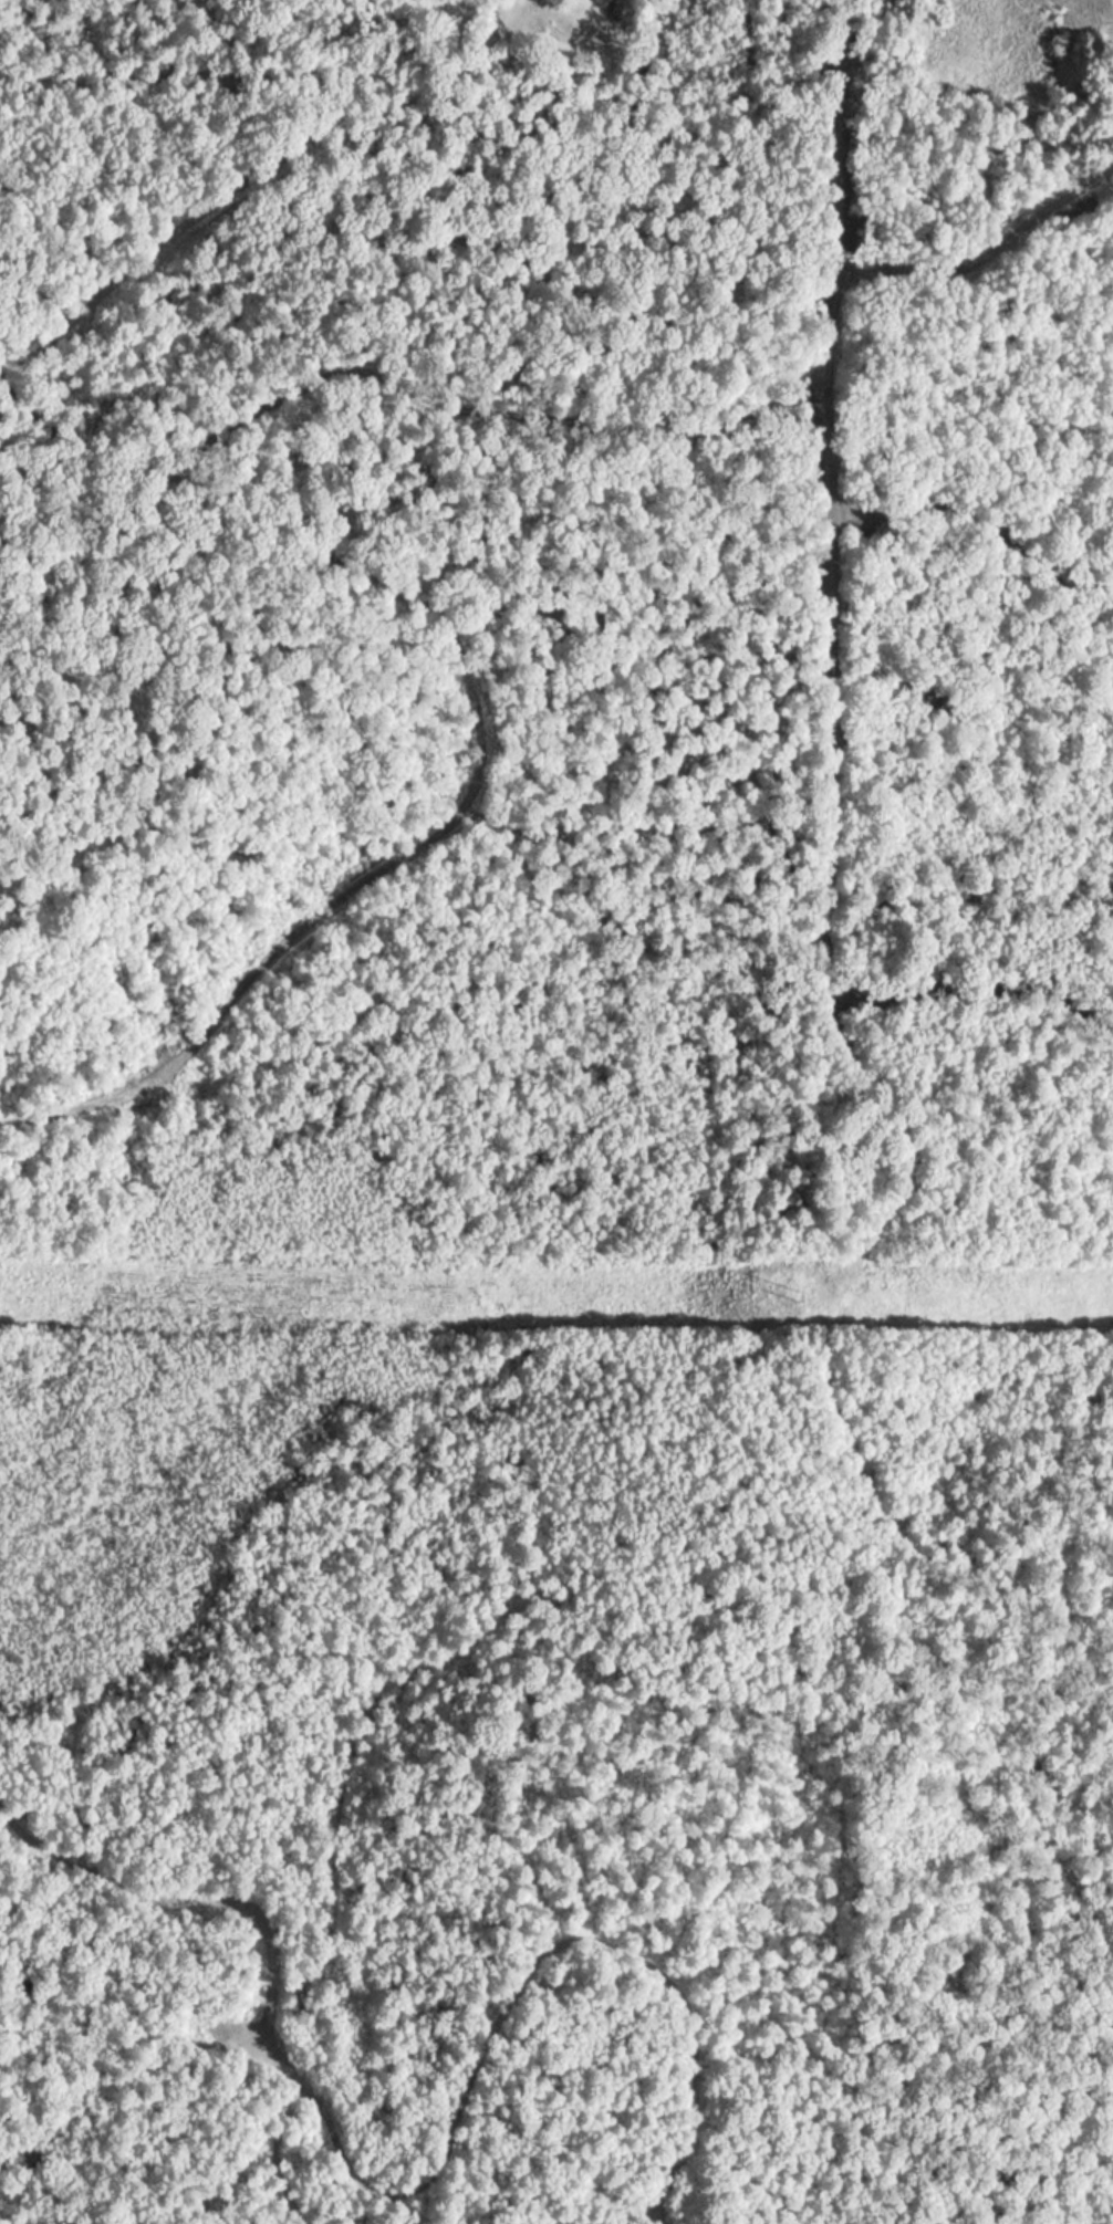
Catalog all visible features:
power tower: (794, 1295)

